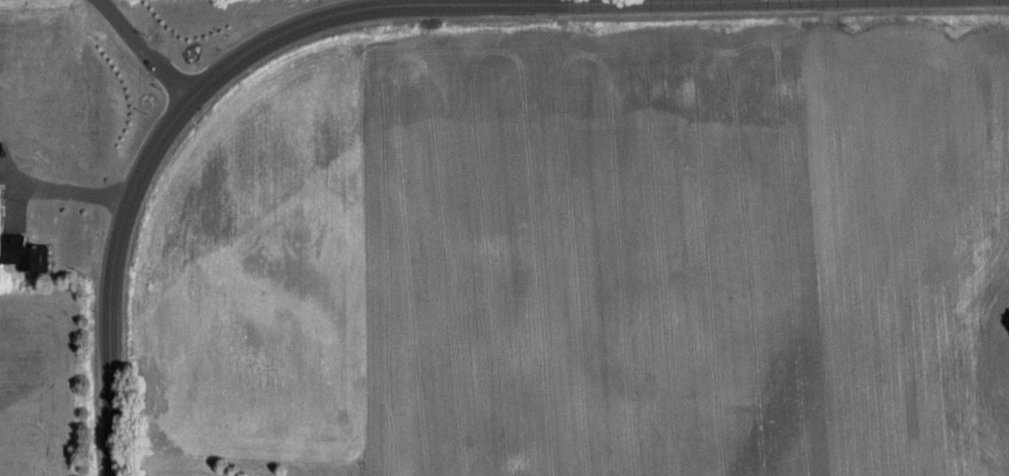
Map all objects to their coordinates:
road: (637, 5)
road: (112, 6)
road: (240, 11)
road: (110, 128)
building: (49, 152)
road: (136, 182)
building: (15, 230)
crop: (689, 251)
building: (38, 259)

